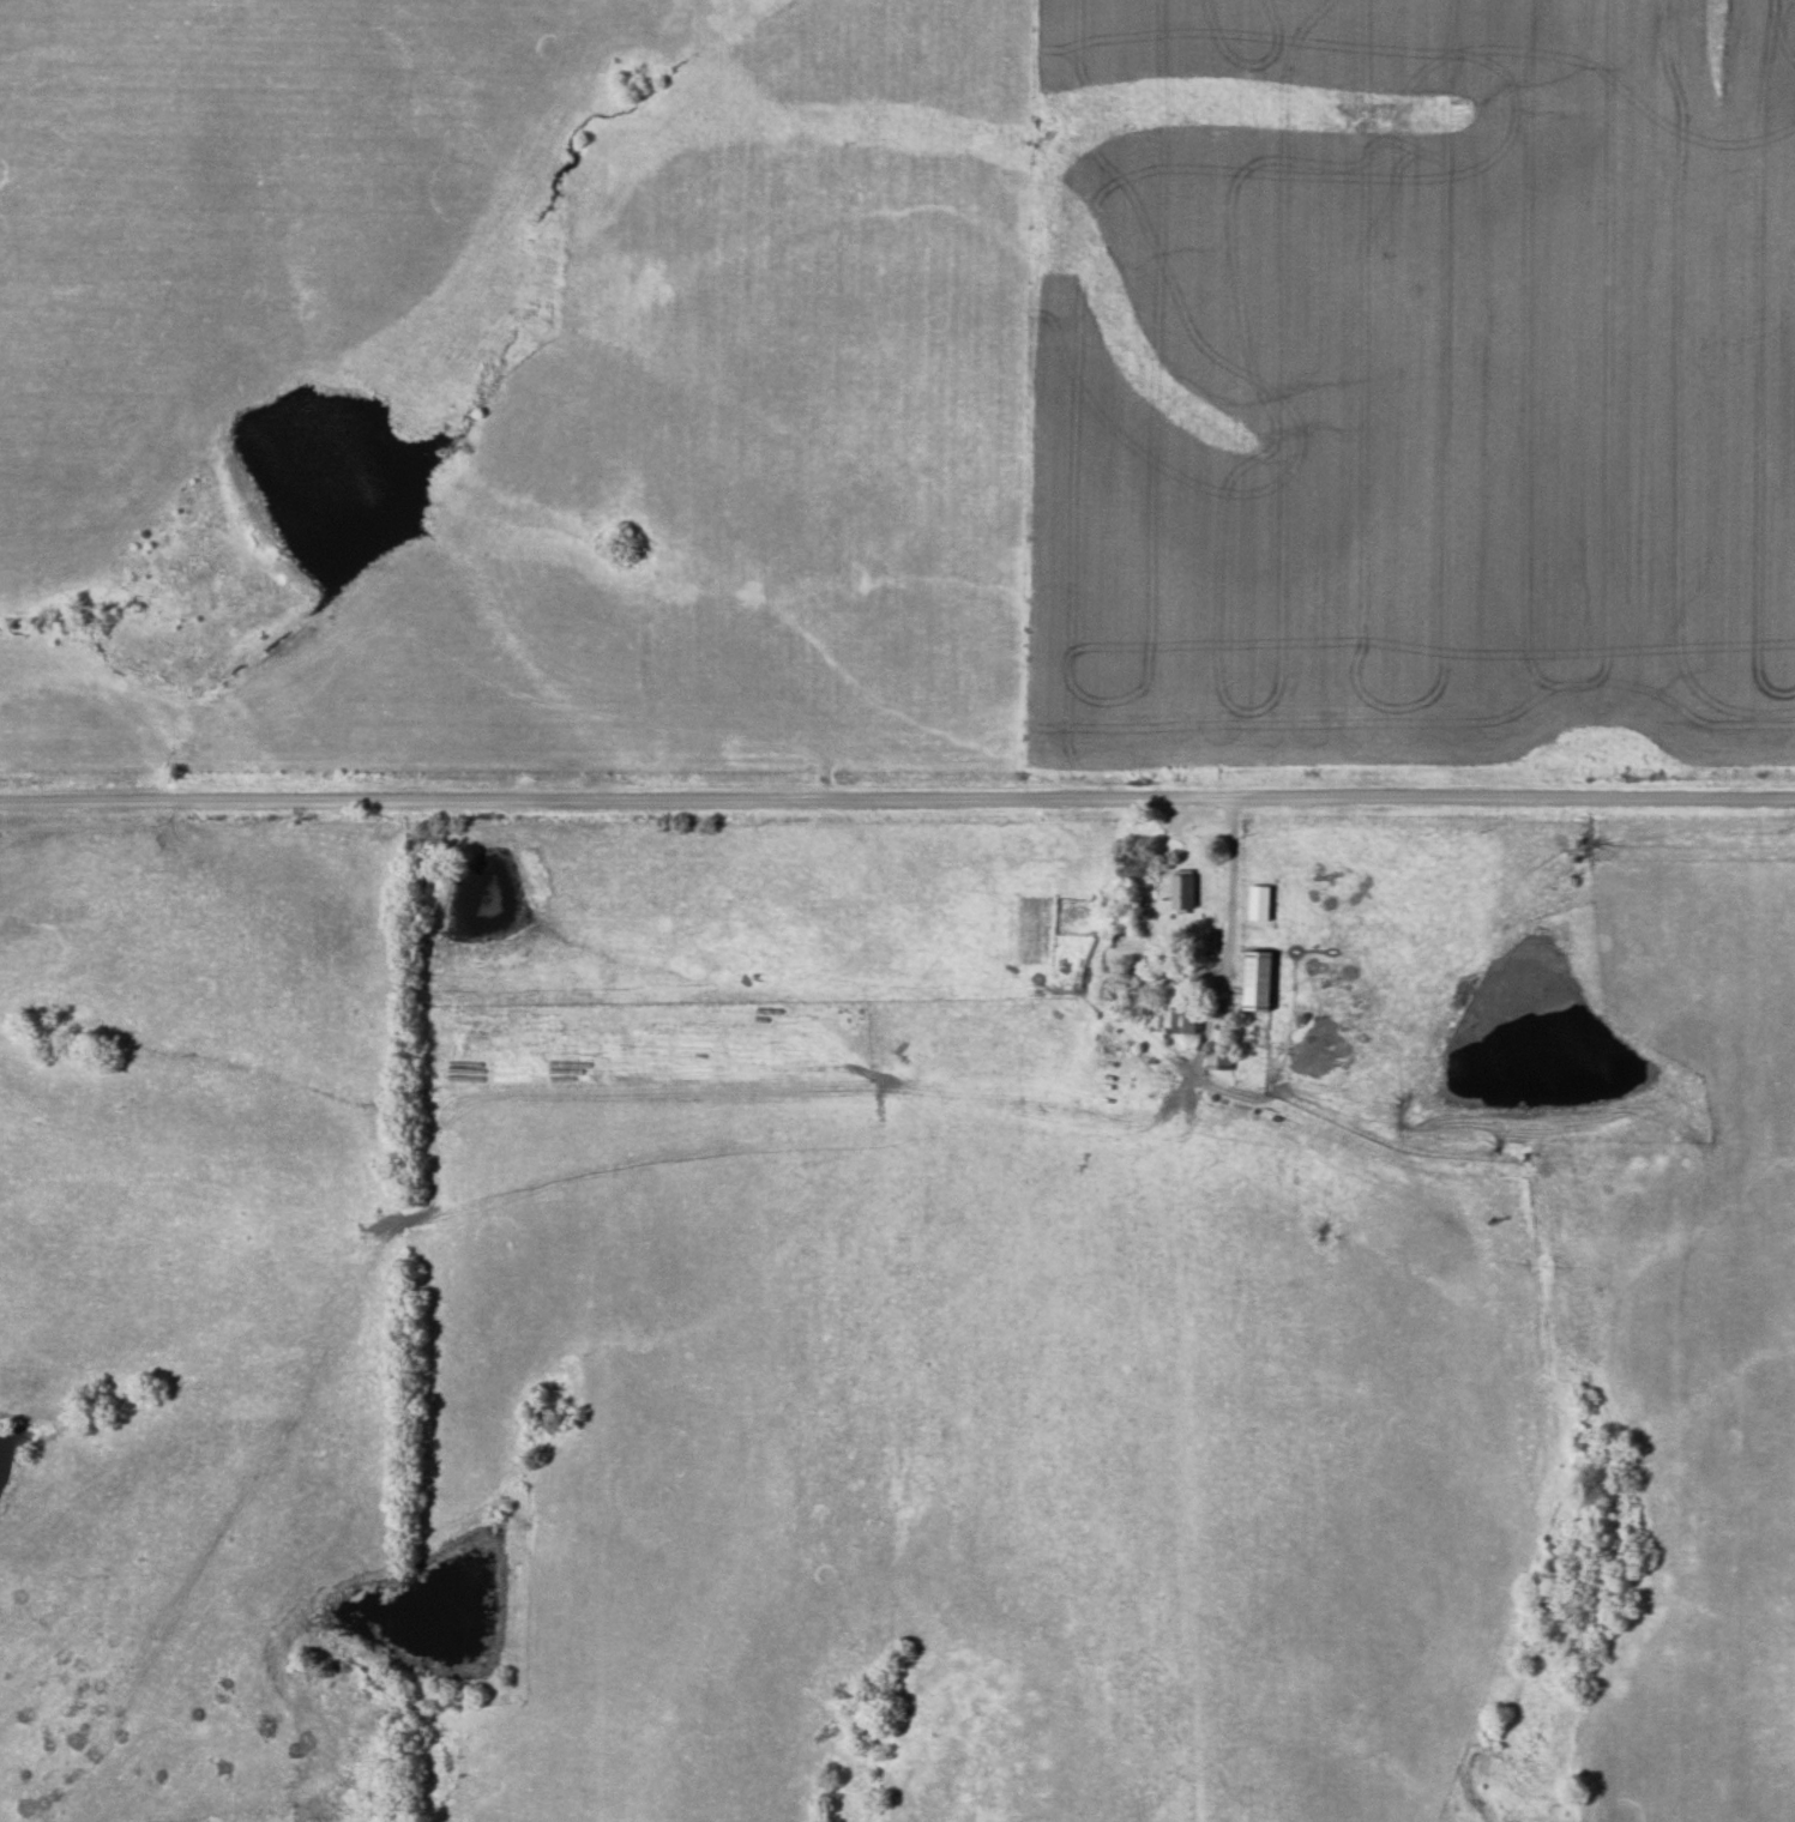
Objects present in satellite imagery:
road: (897, 798)
building: (1177, 891)
building: (1204, 941)
building: (1252, 981)
building: (1179, 1020)
building: (1215, 1060)

